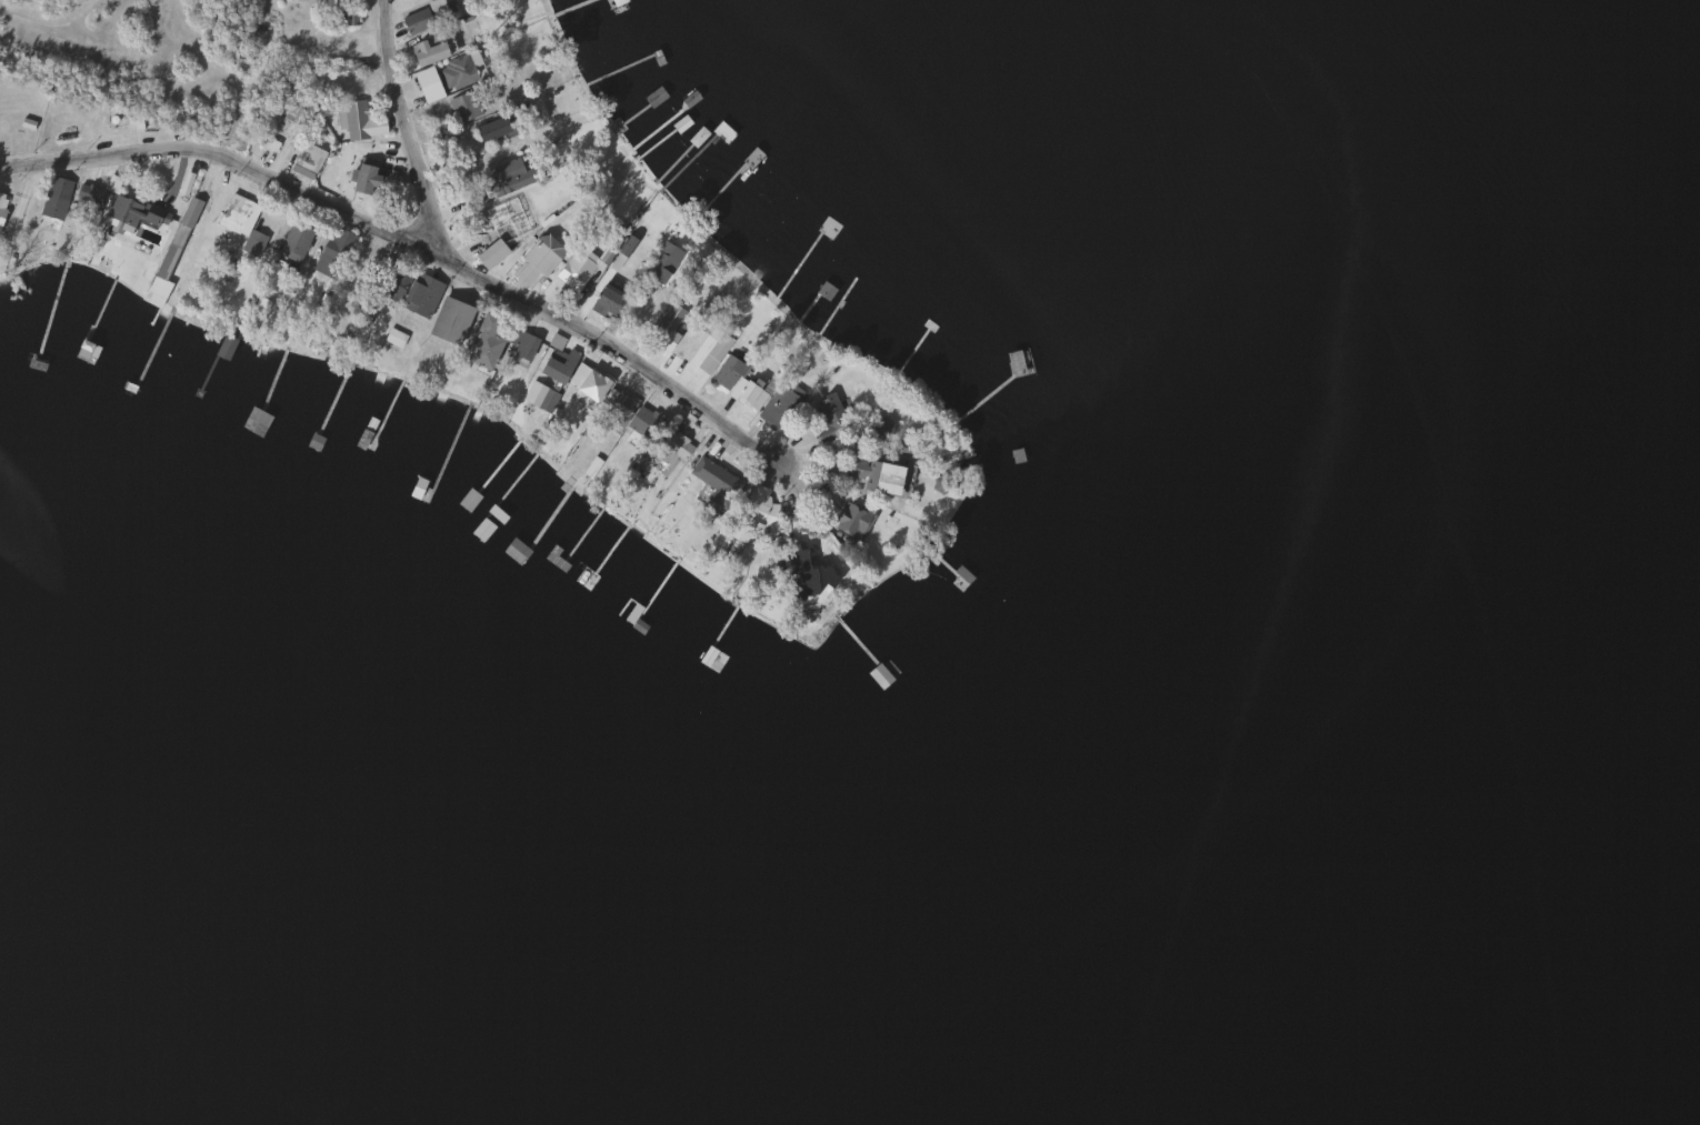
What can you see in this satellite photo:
building: (614, 1)
building: (343, 13)
building: (423, 16)
building: (431, 48)
building: (456, 72)
building: (466, 106)
building: (296, 107)
river: (1569, 110)
building: (352, 120)
road: (403, 128)
building: (492, 129)
building: (309, 158)
building: (501, 177)
building: (363, 178)
building: (2, 205)
building: (51, 209)
building: (122, 211)
building: (233, 212)
building: (511, 218)
building: (293, 240)
road: (409, 244)
building: (333, 252)
building: (537, 260)
building: (663, 262)
building: (576, 269)
building: (421, 295)
building: (152, 297)
building: (606, 302)
building: (704, 318)
building: (450, 320)
building: (661, 335)
building: (486, 342)
building: (556, 343)
building: (523, 345)
building: (224, 346)
building: (1016, 363)
building: (558, 365)
building: (727, 371)
building: (577, 375)
building: (747, 394)
building: (781, 405)
building: (614, 406)
building: (828, 424)
building: (880, 429)
building: (660, 435)
building: (909, 444)
building: (877, 475)
building: (713, 476)
building: (750, 513)
building: (852, 521)
building: (813, 563)
building: (630, 611)
building: (879, 675)
river: (1679, 1056)

